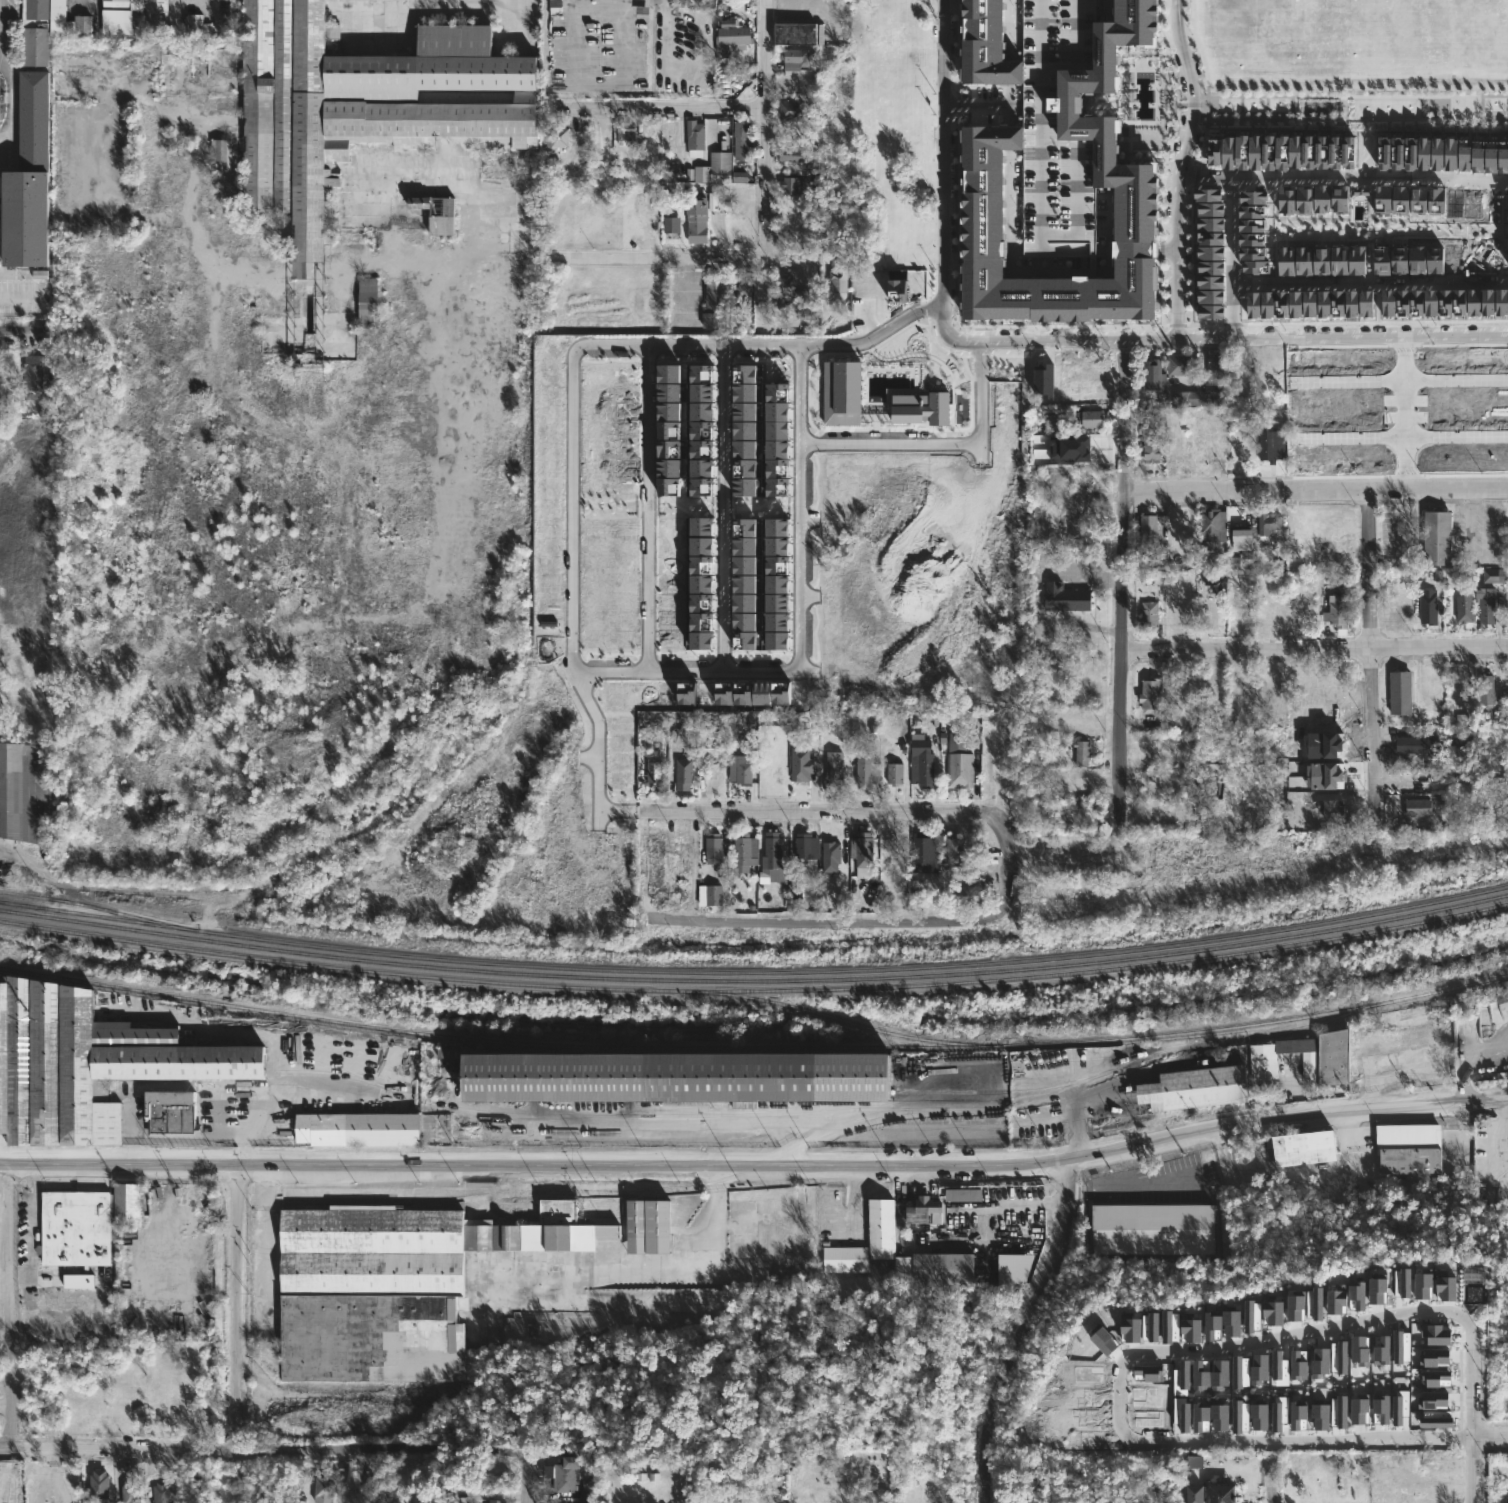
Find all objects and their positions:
road: (1106, 9)
building: (117, 15)
road: (795, 15)
building: (156, 16)
road: (667, 24)
building: (196, 25)
building: (47, 28)
road: (1008, 30)
building: (795, 32)
building: (734, 34)
building: (986, 47)
building: (796, 57)
road: (1009, 74)
road: (12, 101)
road: (955, 103)
road: (989, 103)
building: (363, 106)
road: (1009, 108)
road: (695, 109)
building: (791, 109)
building: (625, 130)
building: (1055, 130)
parking garage: (1055, 130)
road: (766, 131)
building: (555, 138)
building: (695, 138)
building: (741, 139)
road: (1009, 141)
building: (1295, 151)
building: (1249, 152)
building: (1328, 152)
building: (1383, 153)
building: (1397, 153)
building: (1410, 153)
building: (1437, 153)
building: (1450, 153)
building: (793, 154)
building: (1423, 154)
building: (220, 155)
building: (1464, 155)
building: (1477, 156)
building: (1490, 157)
building: (1503, 157)
building: (984, 158)
building: (721, 166)
road: (940, 168)
road: (1177, 168)
road: (1342, 177)
building: (27, 178)
building: (790, 185)
building: (1208, 195)
building: (1360, 196)
building: (1322, 198)
building: (1340, 199)
building: (1382, 199)
building: (1304, 200)
building: (1400, 200)
building: (1286, 201)
building: (1252, 204)
building: (791, 206)
building: (437, 213)
building: (697, 221)
road: (1108, 222)
building: (671, 225)
building: (1251, 225)
building: (1251, 239)
building: (1210, 246)
road: (1136, 248)
road: (1168, 248)
road: (1103, 249)
road: (1232, 257)
building: (1252, 259)
road: (578, 260)
road: (708, 261)
building: (1321, 261)
road: (1010, 272)
building: (838, 279)
road: (1369, 280)
building: (744, 281)
building: (784, 289)
building: (897, 290)
building: (1210, 296)
parking lot: (25, 299)
building: (1446, 300)
building: (1460, 300)
building: (1473, 302)
building: (1487, 302)
building: (1501, 302)
building: (367, 303)
building: (1352, 303)
building: (1430, 303)
building: (715, 304)
building: (1274, 304)
building: (1316, 304)
building: (1366, 304)
building: (1211, 311)
road: (26, 330)
road: (1313, 338)
road: (969, 341)
road: (1056, 341)
building: (1235, 362)
building: (1179, 364)
building: (1216, 367)
building: (1155, 374)
building: (32, 376)
building: (1069, 381)
building: (1092, 381)
building: (1044, 382)
road: (1398, 384)
building: (835, 389)
building: (701, 400)
building: (912, 404)
road: (1399, 413)
building: (1092, 418)
building: (744, 430)
building: (776, 441)
building: (1151, 441)
building: (1181, 441)
road: (1398, 441)
building: (1211, 442)
road: (933, 444)
building: (1267, 445)
building: (1082, 450)
railway: (728, 463)
building: (701, 487)
road: (1316, 492)
road: (647, 509)
road: (718, 512)
building: (1082, 515)
building: (1270, 523)
building: (1214, 525)
building: (1148, 532)
building: (1435, 537)
building: (1506, 537)
building: (1244, 540)
building: (1233, 563)
building: (1491, 575)
road: (1122, 579)
building: (701, 584)
building: (744, 584)
building: (777, 584)
building: (1217, 584)
road: (573, 592)
road: (1036, 593)
building: (1066, 598)
building: (1485, 606)
building: (1429, 607)
building: (1307, 609)
building: (1465, 609)
building: (1339, 612)
building: (1152, 615)
road: (1314, 649)
road: (1373, 656)
building: (1507, 670)
building: (1486, 689)
building: (734, 693)
building: (771, 693)
building: (1401, 693)
building: (1151, 696)
building: (1068, 721)
building: (1418, 745)
building: (1331, 747)
building: (1082, 754)
building: (1455, 758)
building: (958, 760)
road: (595, 766)
building: (803, 768)
building: (834, 768)
building: (922, 769)
building: (744, 770)
building: (653, 772)
building: (683, 773)
building: (867, 774)
building: (895, 774)
building: (1323, 776)
road: (998, 780)
building: (1082, 782)
building: (26, 793)
road: (757, 806)
building: (1419, 806)
building: (1333, 808)
road: (1000, 825)
building: (685, 848)
building: (713, 848)
building: (772, 848)
building: (807, 848)
building: (745, 849)
building: (954, 849)
road: (1075, 852)
building: (862, 853)
road: (21, 856)
building: (924, 856)
building: (830, 857)
road: (1006, 888)
building: (709, 895)
building: (964, 895)
railway: (15, 902)
railway: (15, 904)
railway: (88, 904)
road: (821, 922)
railway: (1099, 969)
railway: (770, 971)
railway: (755, 979)
railway: (503, 982)
building: (1502, 1000)
building: (1464, 1026)
railway: (754, 1046)
building: (1346, 1046)
railway: (1043, 1061)
building: (86, 1063)
railway: (360, 1076)
building: (669, 1079)
building: (1196, 1087)
railway: (762, 1091)
railway: (833, 1110)
building: (170, 1113)
road: (1506, 1118)
building: (357, 1128)
building: (1306, 1147)
building: (1410, 1148)
road: (756, 1159)
road: (1307, 1171)
road: (1162, 1177)
railway: (620, 1191)
building: (964, 1195)
building: (896, 1221)
building: (84, 1223)
road: (191, 1225)
building: (648, 1225)
building: (1153, 1229)
road: (35, 1230)
road: (260, 1236)
building: (844, 1259)
road: (689, 1262)
building: (935, 1268)
building: (1013, 1268)
building: (78, 1281)
building: (1402, 1283)
building: (393, 1285)
building: (1445, 1285)
building: (1422, 1286)
building: (1377, 1291)
building: (1356, 1296)
building: (1336, 1298)
building: (1314, 1304)
building: (1295, 1305)
road: (10, 1306)
road: (239, 1308)
building: (1273, 1310)
building: (1128, 1313)
building: (1252, 1316)
building: (1212, 1321)
building: (1231, 1323)
building: (1191, 1324)
building: (1149, 1327)
building: (1170, 1327)
road: (1024, 1329)
building: (1131, 1329)
building: (1436, 1334)
building: (1104, 1342)
building: (1401, 1346)
road: (1155, 1350)
building: (1359, 1351)
building: (1381, 1351)
building: (1338, 1357)
building: (1436, 1357)
building: (1320, 1362)
building: (1298, 1366)
building: (1259, 1368)
building: (1279, 1369)
road: (5, 1370)
building: (1240, 1372)
building: (1220, 1375)
building: (1182, 1376)
building: (1200, 1376)
building: (1436, 1379)
building: (1434, 1400)
road: (4, 1404)
building: (1349, 1405)
building: (1400, 1406)
building: (1381, 1409)
building: (1339, 1411)
building: (1359, 1411)
building: (1279, 1412)
building: (1181, 1413)
building: (1298, 1415)
building: (1240, 1416)
building: (1320, 1416)
building: (1201, 1417)
building: (1220, 1417)
building: (1259, 1417)
building: (1436, 1419)
road: (1440, 1431)
road: (1473, 1440)
road: (263, 1453)
building: (1194, 1461)
building: (1305, 1463)
building: (1417, 1463)
building: (566, 1475)
road: (343, 1478)
road: (527, 1481)
building: (98, 1485)
building: (323, 1490)
building: (160, 1493)
building: (1195, 1493)
building: (129, 1494)
building: (1223, 1494)
building: (586, 1496)
road: (1269, 1496)
building: (495, 1501)

